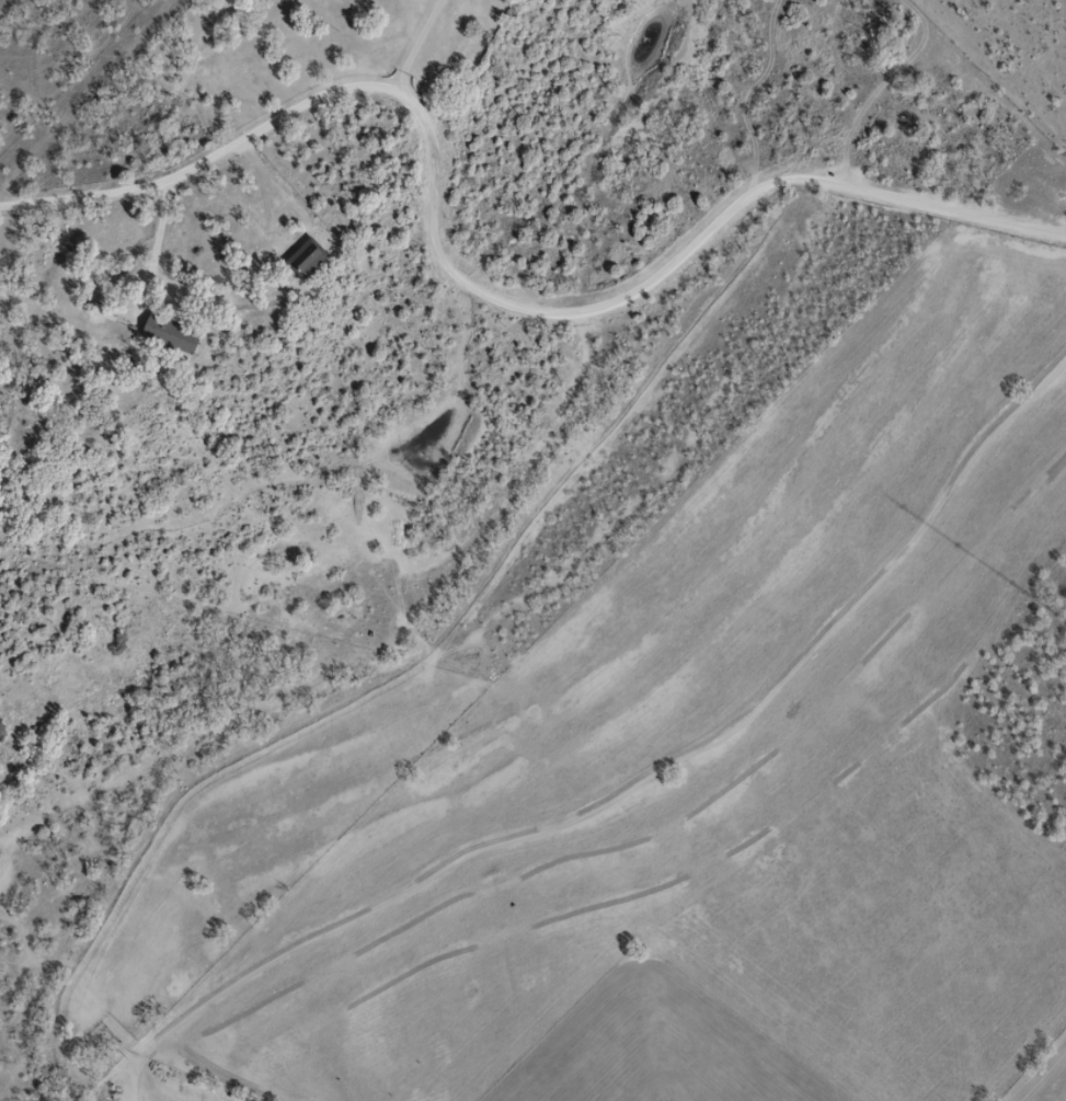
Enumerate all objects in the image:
road: (466, 302)
building: (176, 334)

